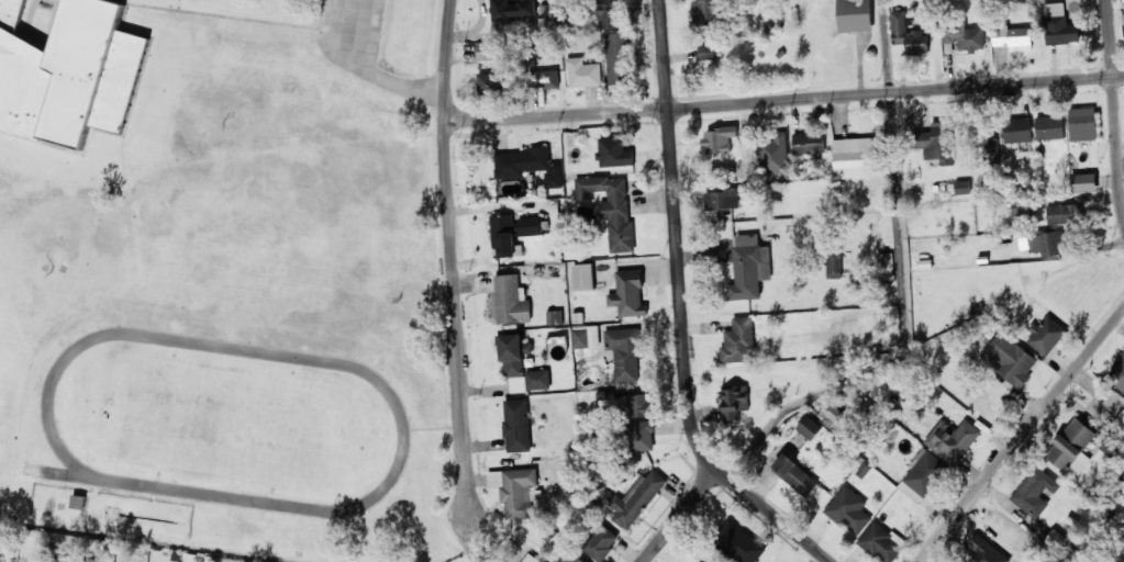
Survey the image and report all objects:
building: (512, 11)
building: (706, 11)
building: (609, 14)
building: (854, 15)
building: (1059, 24)
building: (908, 33)
building: (964, 36)
building: (1012, 36)
building: (487, 50)
building: (706, 53)
building: (617, 58)
building: (68, 72)
building: (582, 72)
building: (543, 79)
building: (490, 83)
road: (784, 98)
road: (1114, 108)
building: (1082, 124)
building: (1049, 127)
building: (1017, 130)
building: (747, 134)
building: (717, 139)
building: (808, 143)
building: (936, 143)
building: (747, 148)
building: (990, 150)
building: (614, 151)
building: (775, 154)
building: (855, 157)
building: (528, 166)
building: (1083, 182)
building: (962, 187)
building: (721, 199)
building: (611, 207)
building: (1020, 207)
building: (1064, 213)
building: (530, 226)
building: (504, 236)
building: (1046, 243)
road: (455, 258)
building: (834, 265)
building: (886, 266)
building: (749, 267)
building: (583, 277)
building: (628, 294)
building: (509, 301)
road: (679, 312)
building: (554, 317)
building: (1046, 336)
building: (585, 337)
building: (738, 341)
building: (624, 352)
building: (1011, 359)
building: (521, 366)
building: (1117, 373)
building: (734, 402)
building: (638, 405)
building: (832, 414)
park: (227, 420)
track: (229, 420)
building: (1120, 421)
building: (516, 424)
building: (809, 427)
road: (1020, 434)
building: (641, 435)
building: (951, 439)
building: (1071, 447)
building: (794, 474)
building: (922, 474)
building: (514, 490)
building: (1035, 492)
building: (636, 498)
building: (78, 502)
building: (848, 509)
road: (681, 515)
building: (881, 541)
building: (601, 542)
building: (737, 542)
building: (1119, 555)
building: (574, 558)
building: (528, 559)

